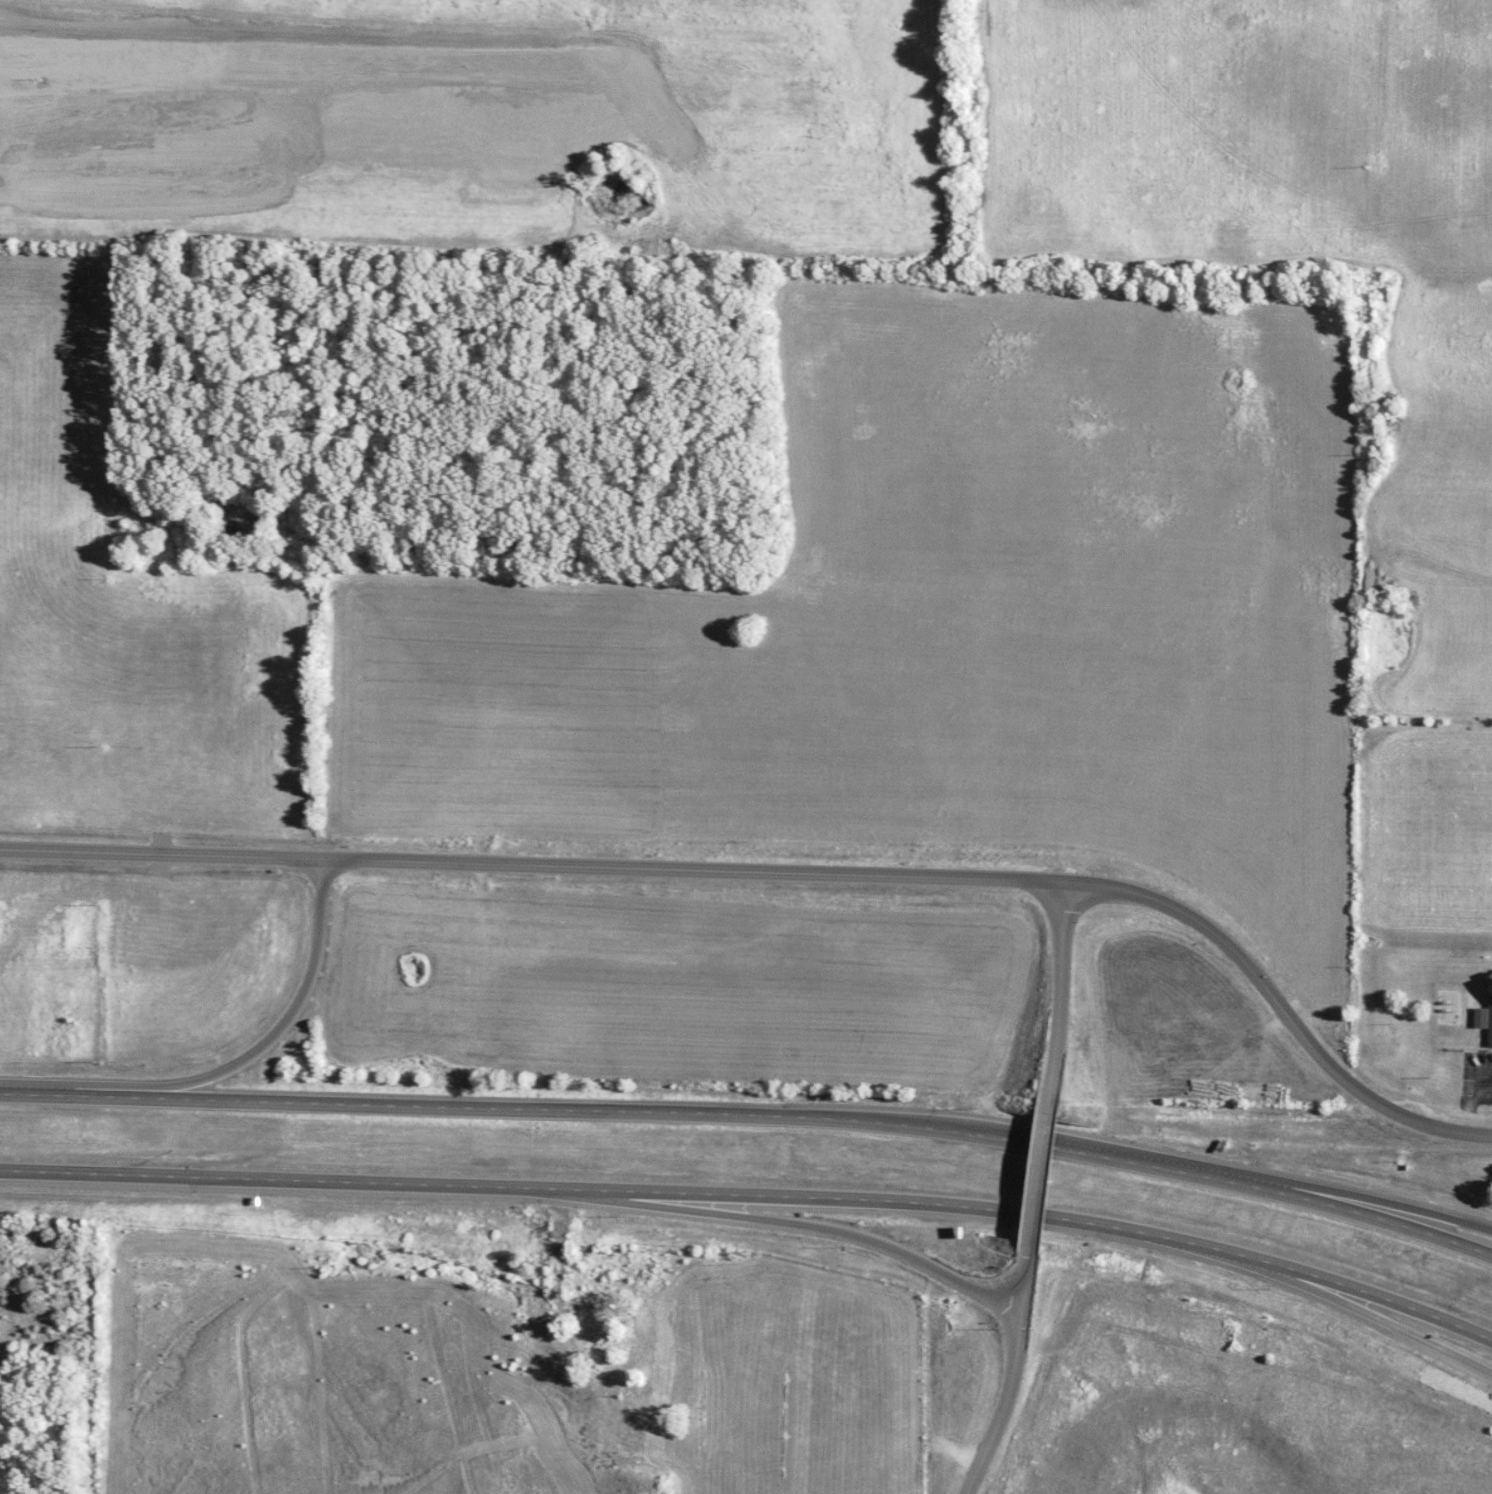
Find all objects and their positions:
road: (159, 851)
road: (683, 867)
road: (1047, 997)
road: (1267, 1010)
building: (1490, 1012)
road: (262, 1028)
road: (753, 1121)
road: (1034, 1179)
road: (755, 1195)
road: (1340, 1199)
road: (817, 1221)
road: (1028, 1257)
road: (1357, 1313)
road: (1000, 1385)

